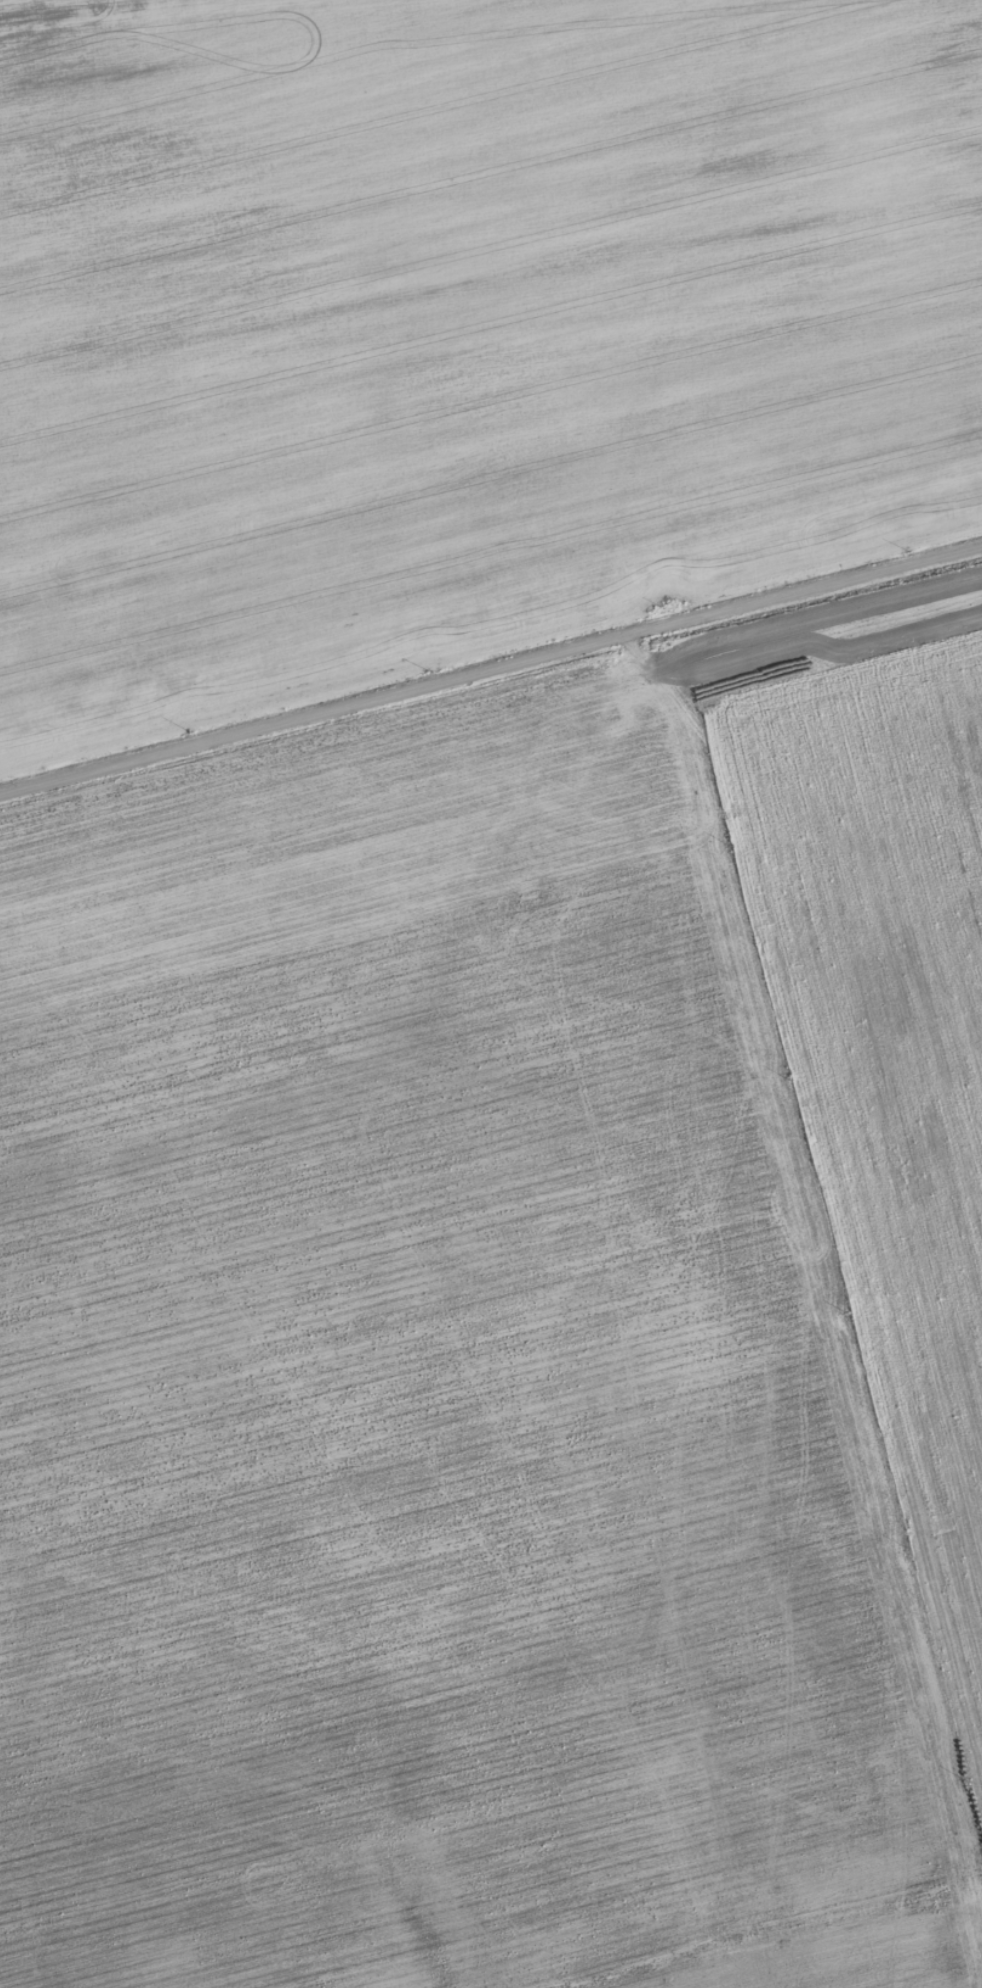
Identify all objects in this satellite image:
road: (491, 664)

